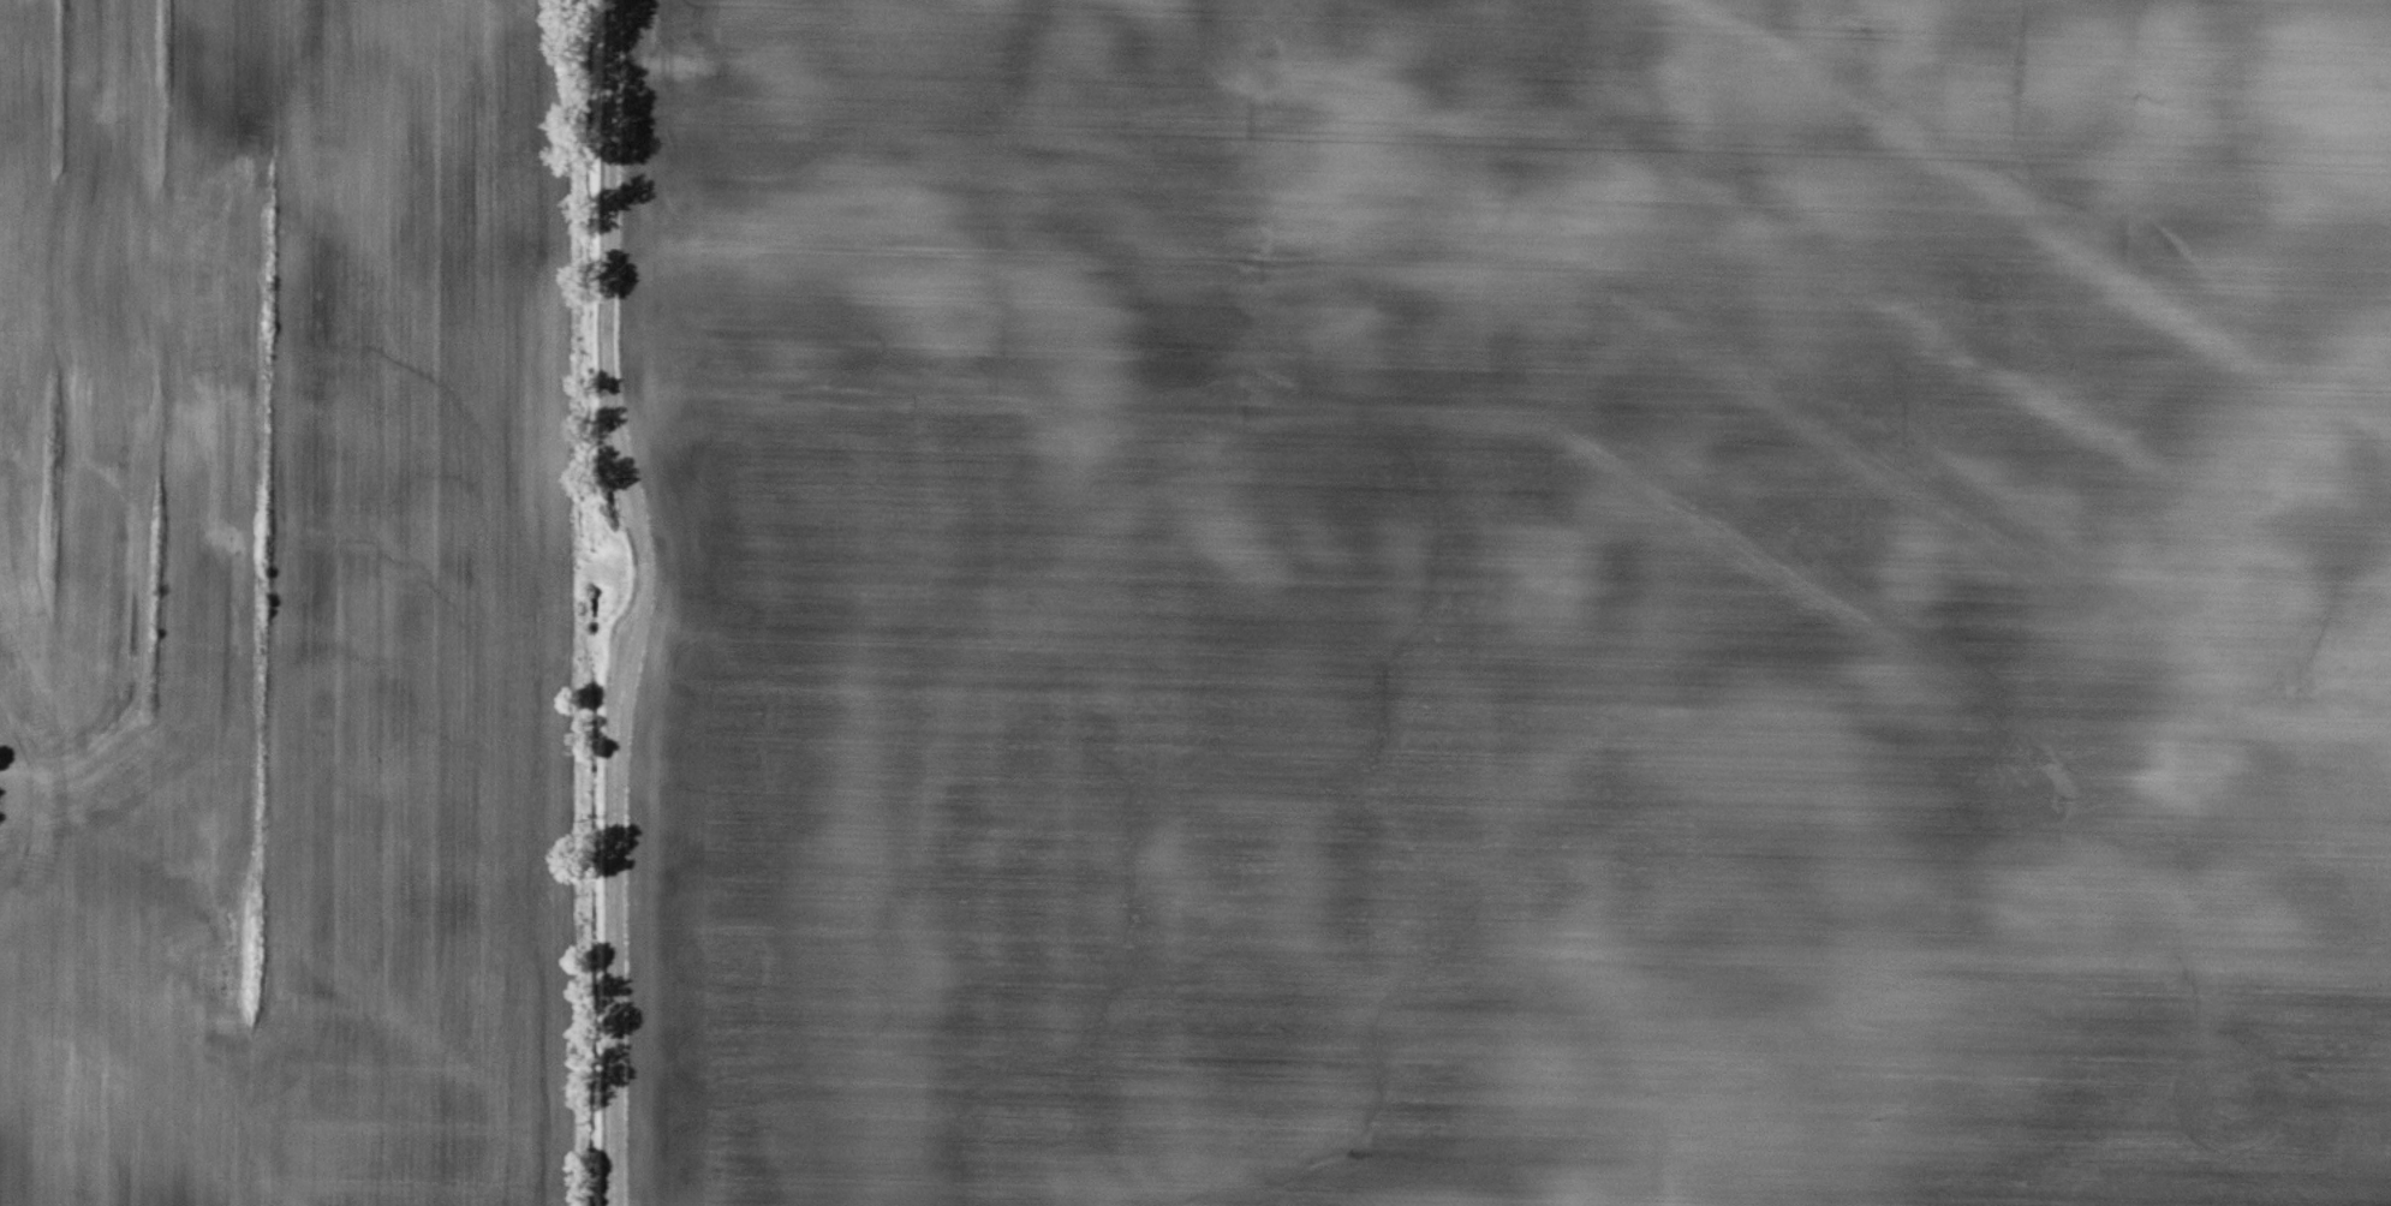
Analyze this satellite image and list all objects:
road: (649, 601)

